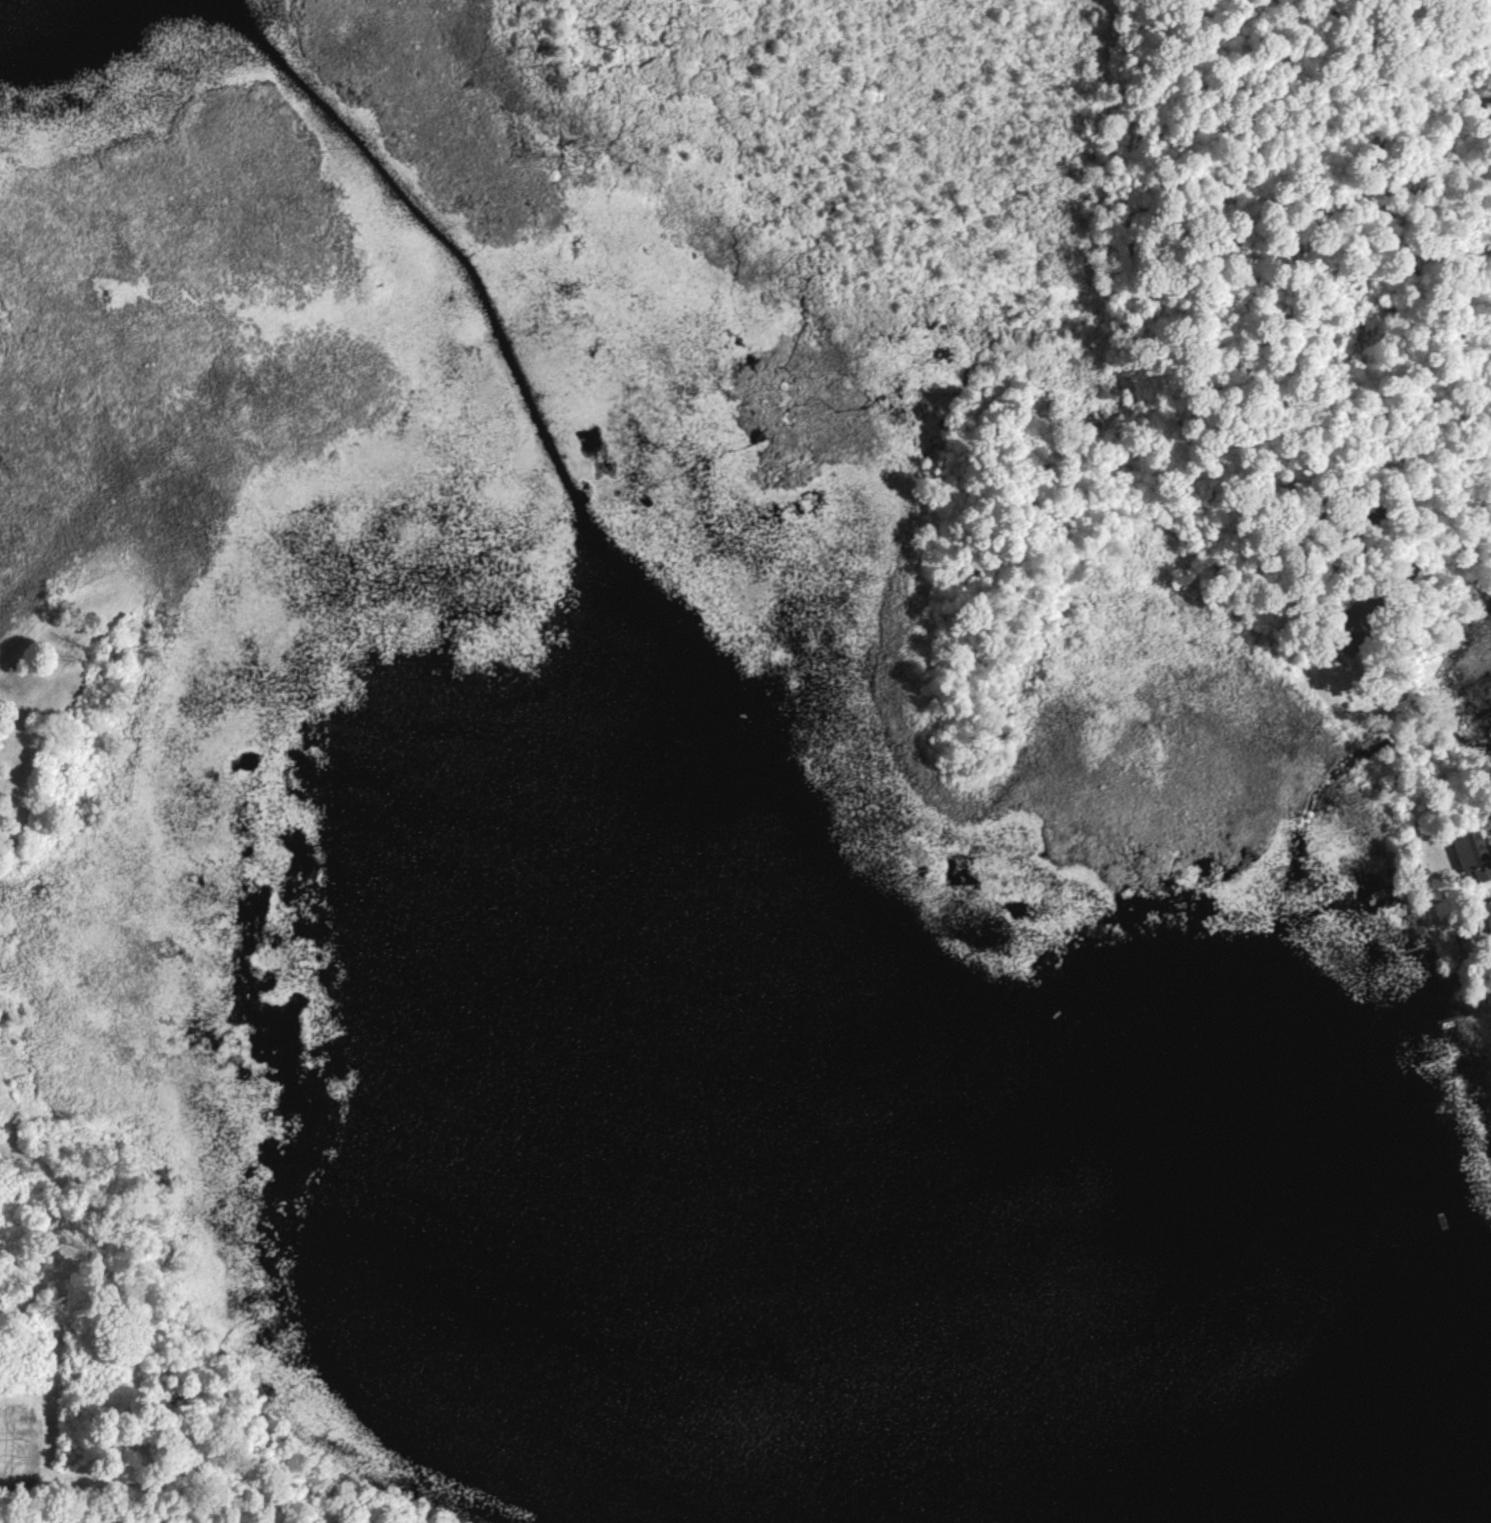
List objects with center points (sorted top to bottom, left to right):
road: (1402, 250)
road: (1355, 548)
building: (1472, 855)

